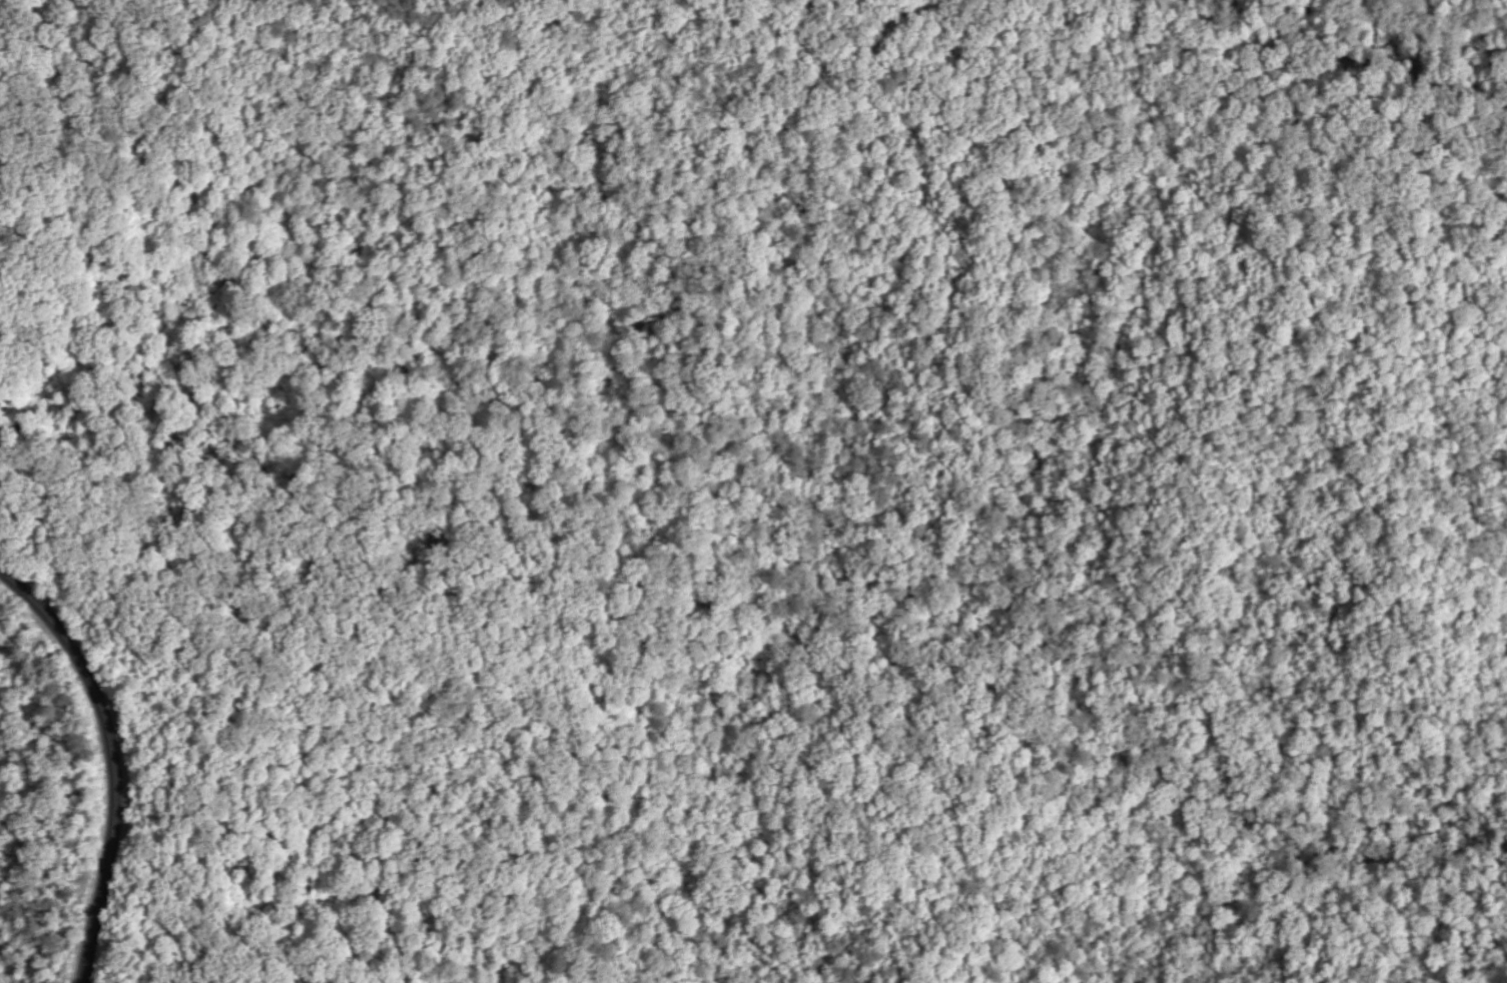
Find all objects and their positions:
road: (111, 758)

